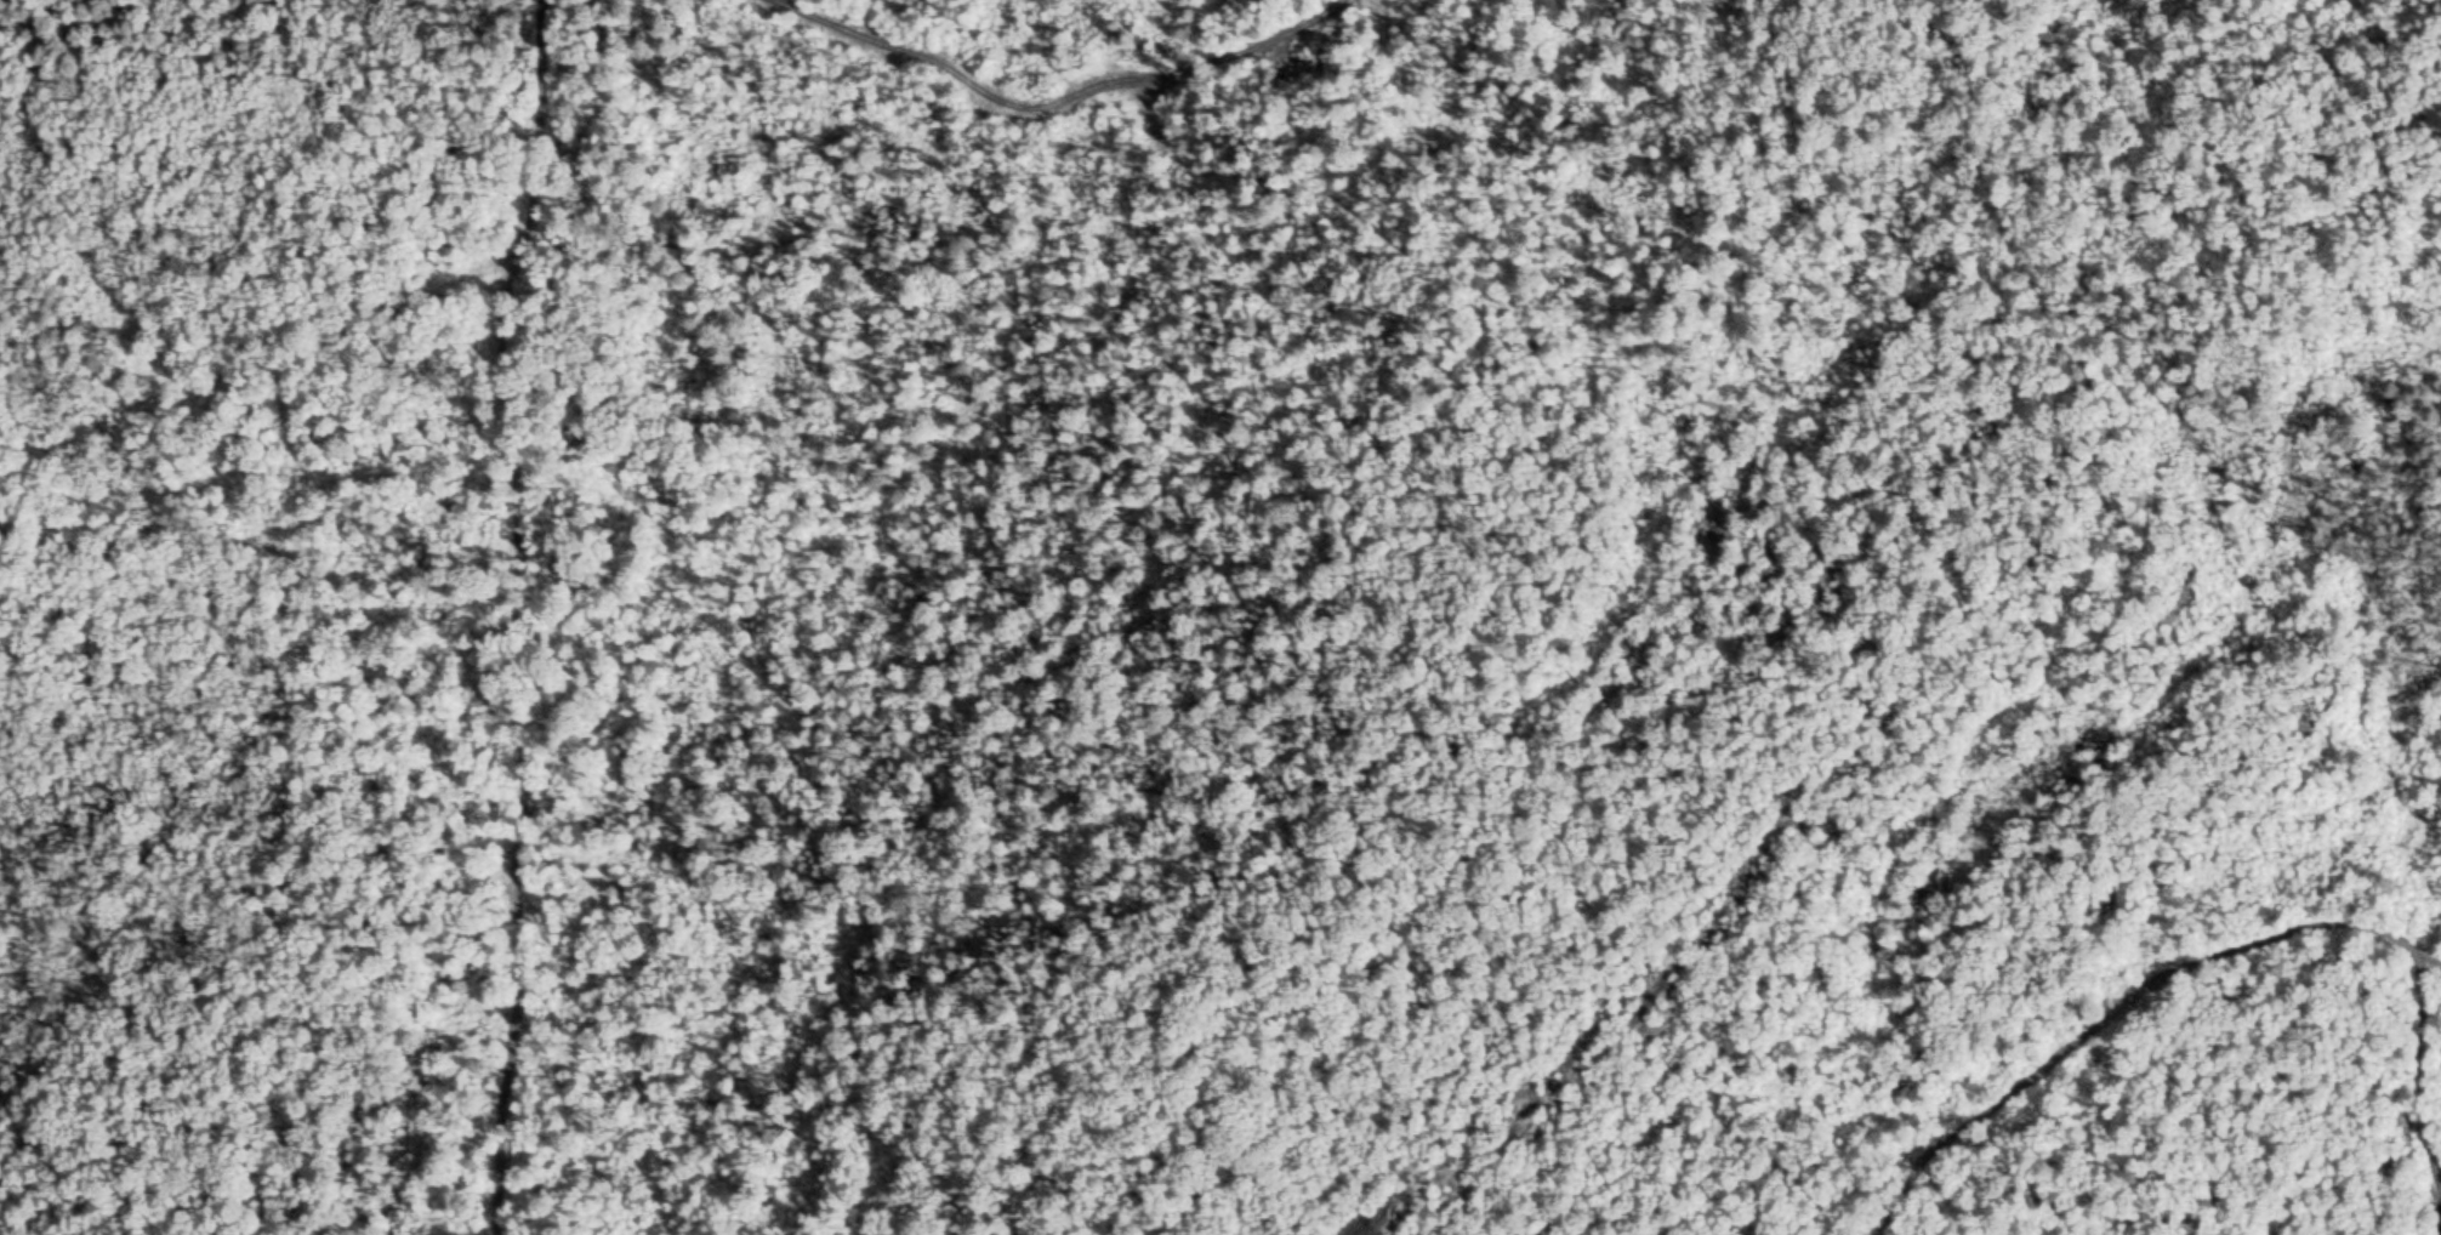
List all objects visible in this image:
road: (2118, 1004)

